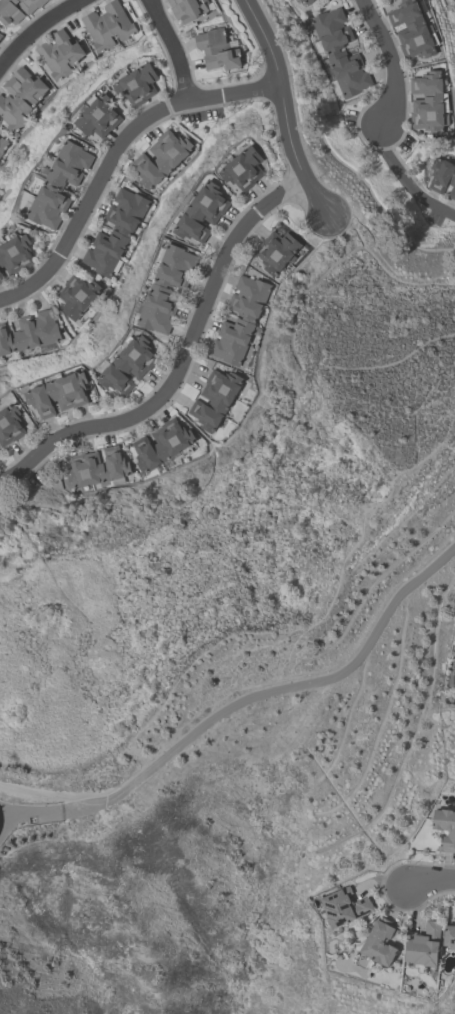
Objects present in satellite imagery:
building: (306, 1)
building: (30, 5)
building: (189, 8)
building: (10, 11)
building: (107, 25)
road: (33, 27)
building: (413, 29)
building: (1, 35)
building: (217, 49)
road: (170, 50)
building: (340, 52)
building: (59, 53)
road: (387, 61)
building: (137, 84)
building: (19, 97)
building: (429, 102)
road: (287, 106)
building: (98, 116)
building: (3, 144)
road: (115, 156)
building: (160, 158)
building: (244, 168)
road: (397, 170)
building: (442, 177)
building: (59, 184)
building: (202, 212)
building: (115, 231)
building: (275, 250)
building: (15, 252)
building: (1, 278)
building: (165, 288)
building: (76, 295)
building: (239, 319)
building: (29, 332)
road: (183, 361)
building: (128, 364)
building: (58, 394)
building: (215, 398)
building: (9, 425)
building: (162, 444)
building: (97, 467)
building: (454, 674)
road: (245, 700)
road: (44, 790)
road: (3, 814)
road: (3, 825)
building: (445, 828)
road: (430, 877)
building: (344, 907)
building: (449, 936)
building: (378, 943)
building: (423, 947)

